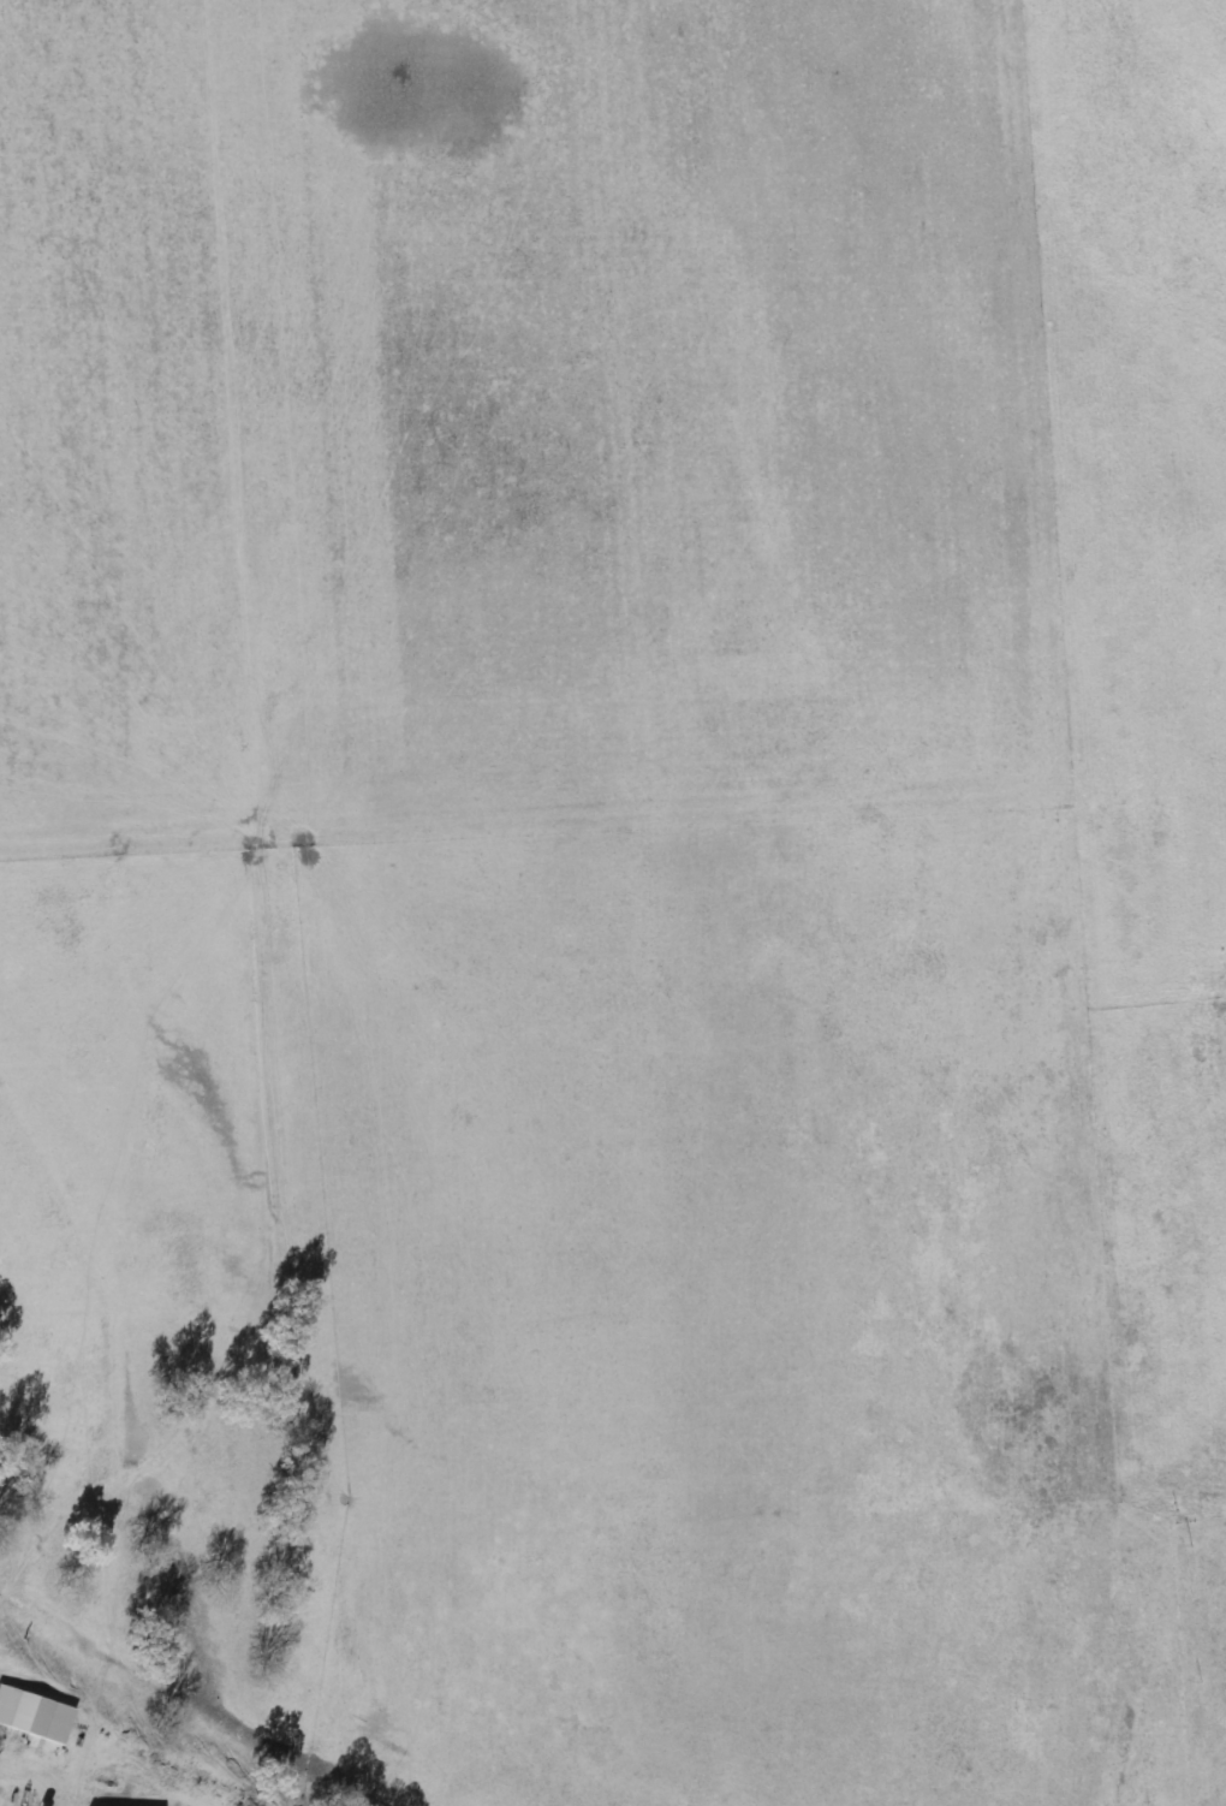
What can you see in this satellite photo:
building: (32, 1715)

